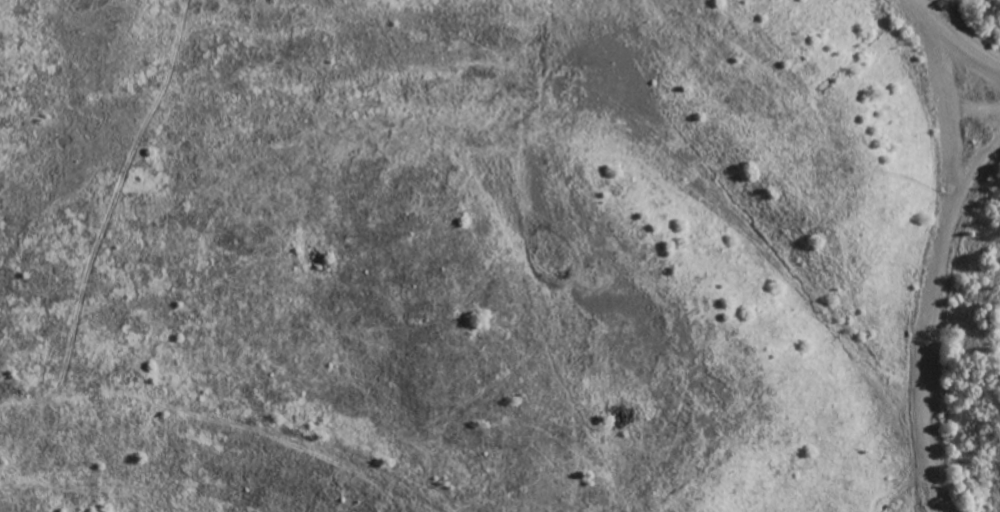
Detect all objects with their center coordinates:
road: (960, 37)

